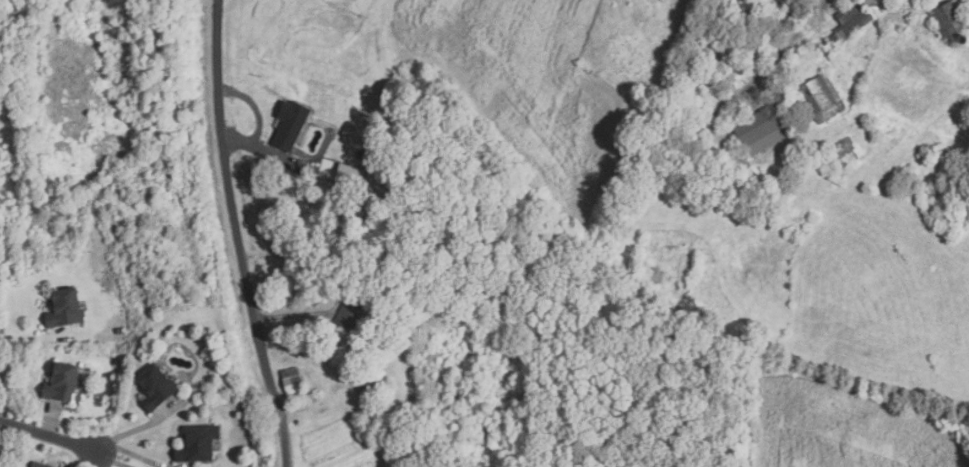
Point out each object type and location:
building: (856, 18)
building: (750, 19)
building: (785, 19)
building: (951, 19)
road: (798, 36)
river: (27, 79)
building: (819, 99)
building: (292, 124)
building: (765, 129)
building: (934, 153)
building: (842, 155)
road: (271, 157)
building: (352, 175)
road: (237, 235)
road: (338, 285)
river: (662, 290)
building: (66, 308)
building: (352, 312)
building: (292, 381)
building: (63, 382)
building: (366, 386)
building: (156, 387)
road: (47, 435)
building: (198, 445)
building: (36, 466)

